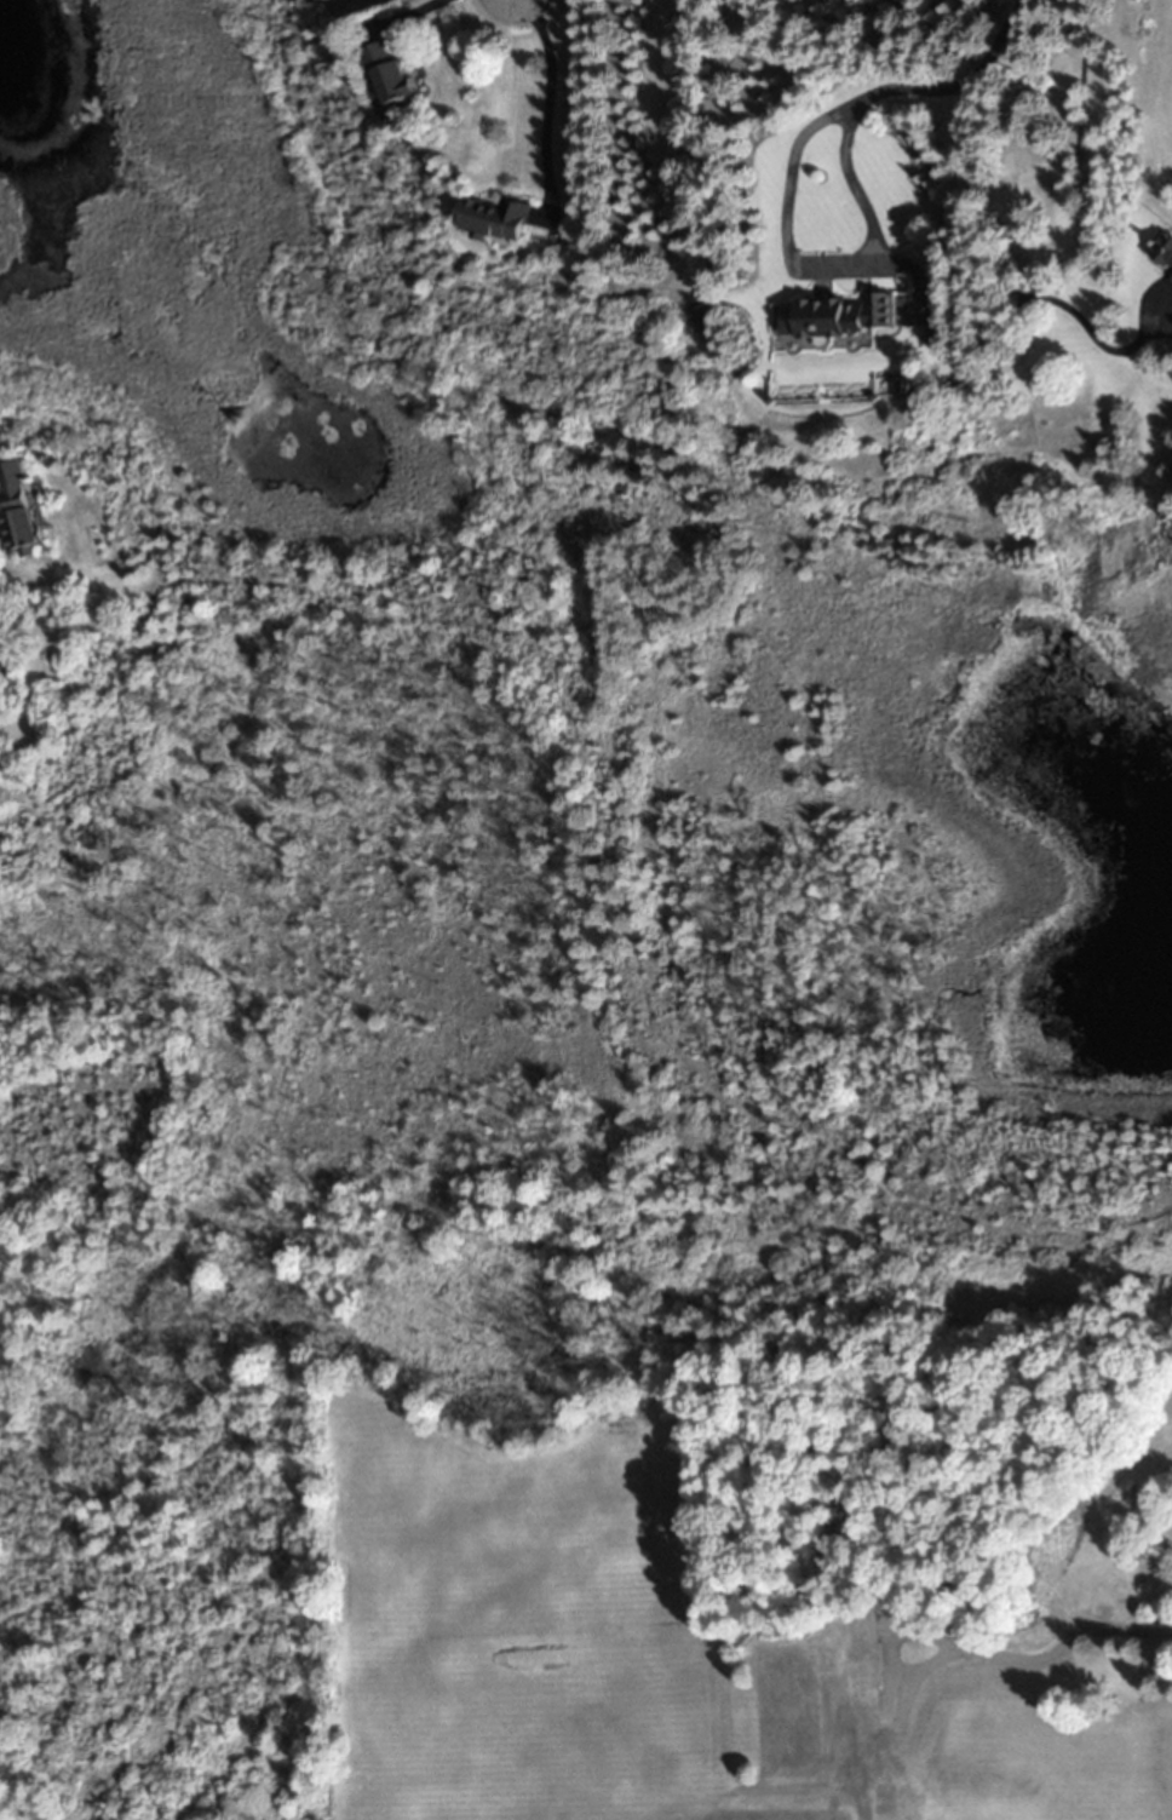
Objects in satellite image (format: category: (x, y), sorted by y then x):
road: (404, 16)
building: (390, 75)
road: (886, 88)
road: (546, 107)
building: (495, 220)
building: (1164, 253)
building: (1170, 280)
building: (835, 320)
road: (1167, 323)
building: (17, 511)
building: (2, 662)
building: (1079, 1560)
road: (964, 1647)
building: (1113, 1676)
building: (810, 1695)
building: (702, 1759)
building: (896, 1802)

